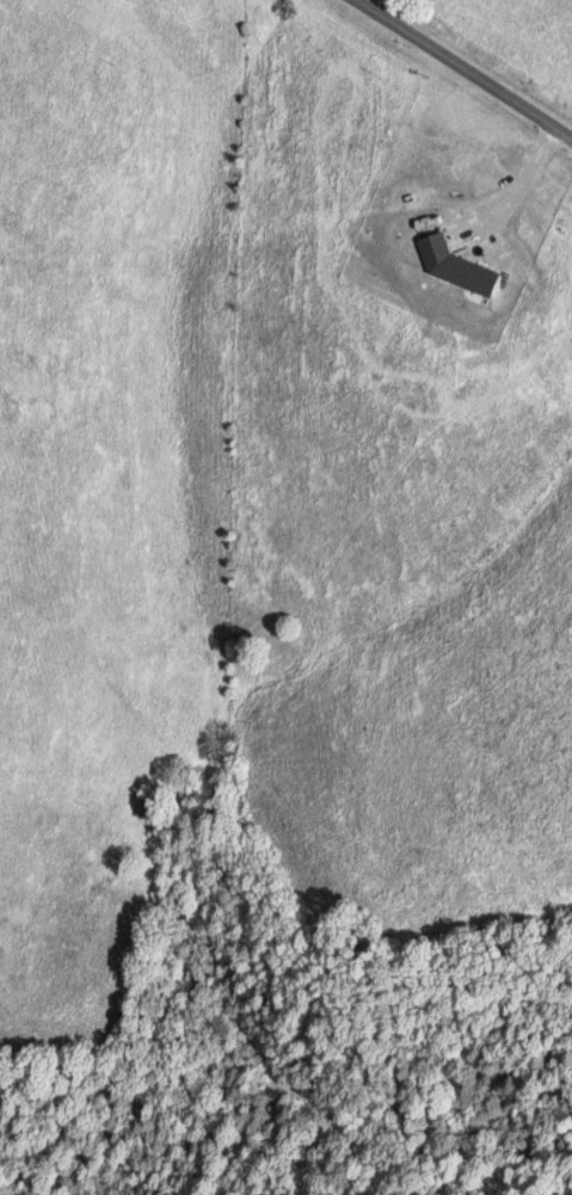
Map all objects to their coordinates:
road: (472, 64)

